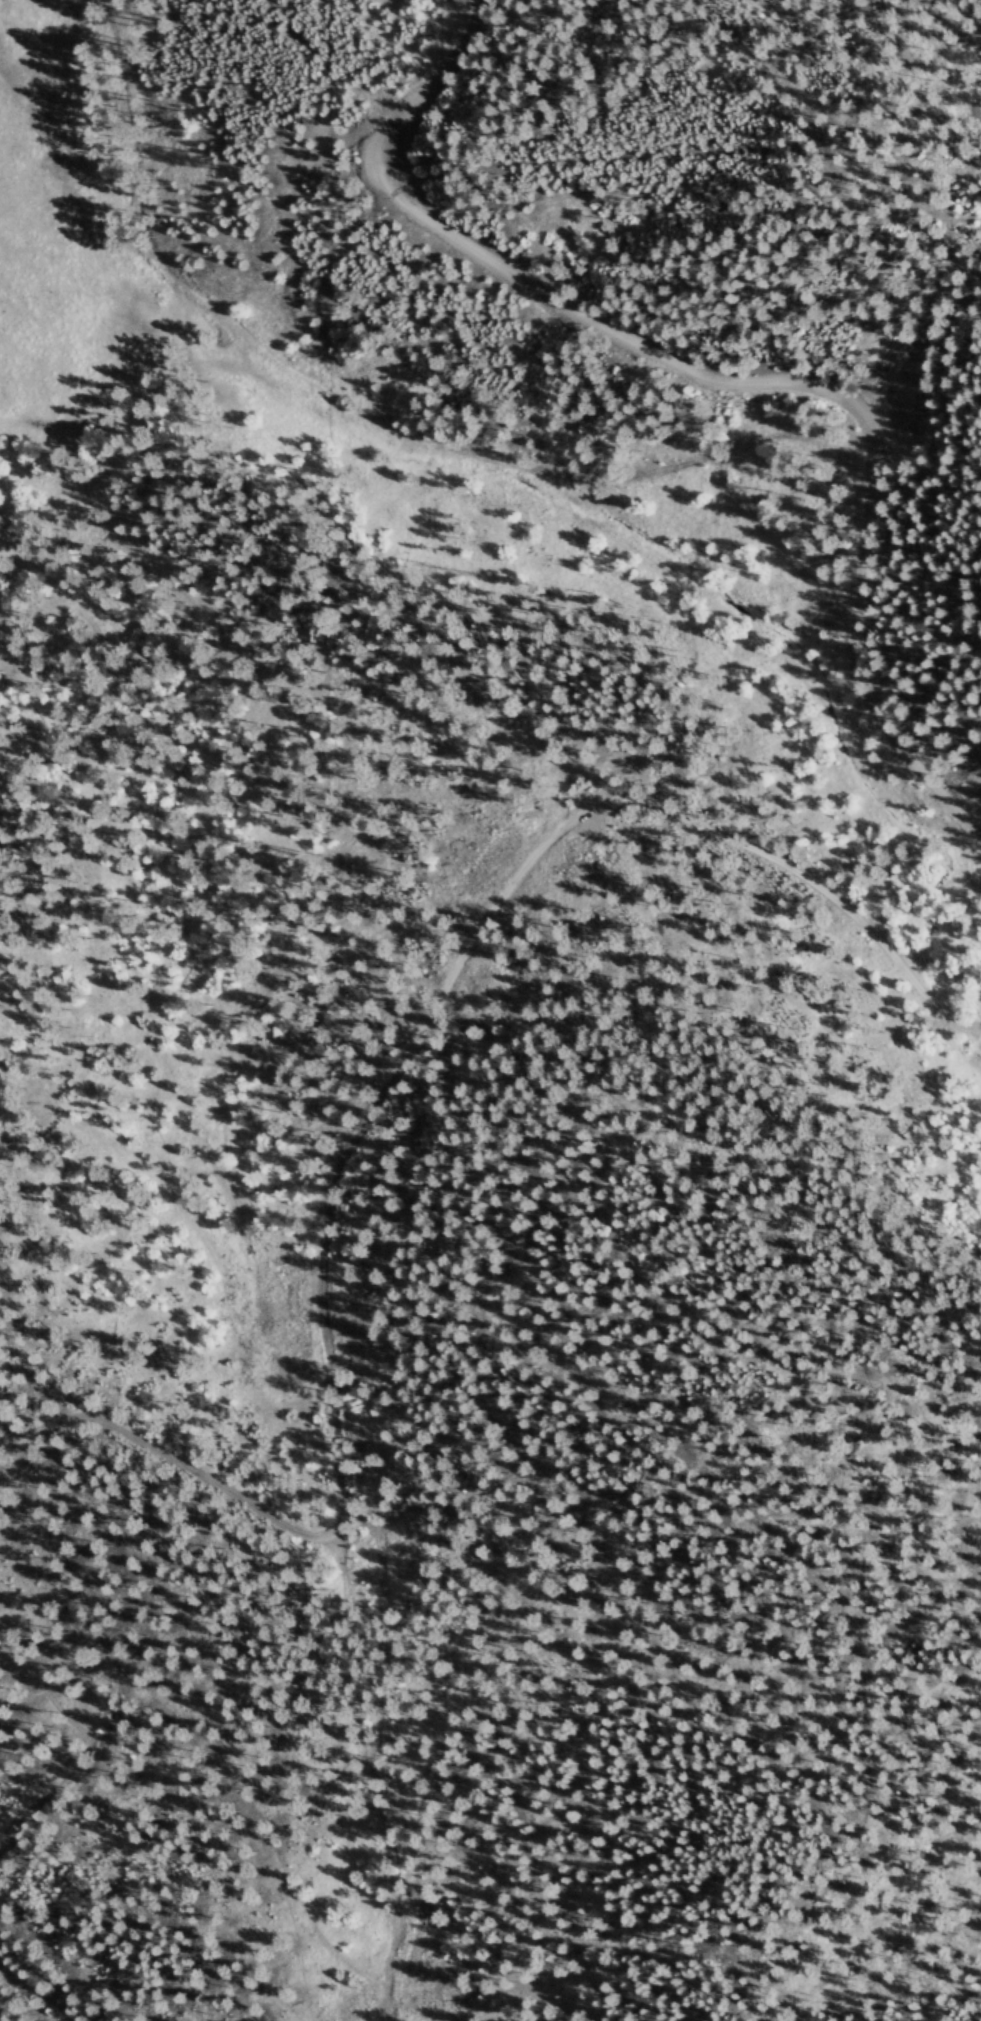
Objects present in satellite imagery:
road: (613, 196)
road: (721, 386)
road: (405, 1058)
road: (452, 1333)
road: (91, 1625)
road: (32, 1989)

